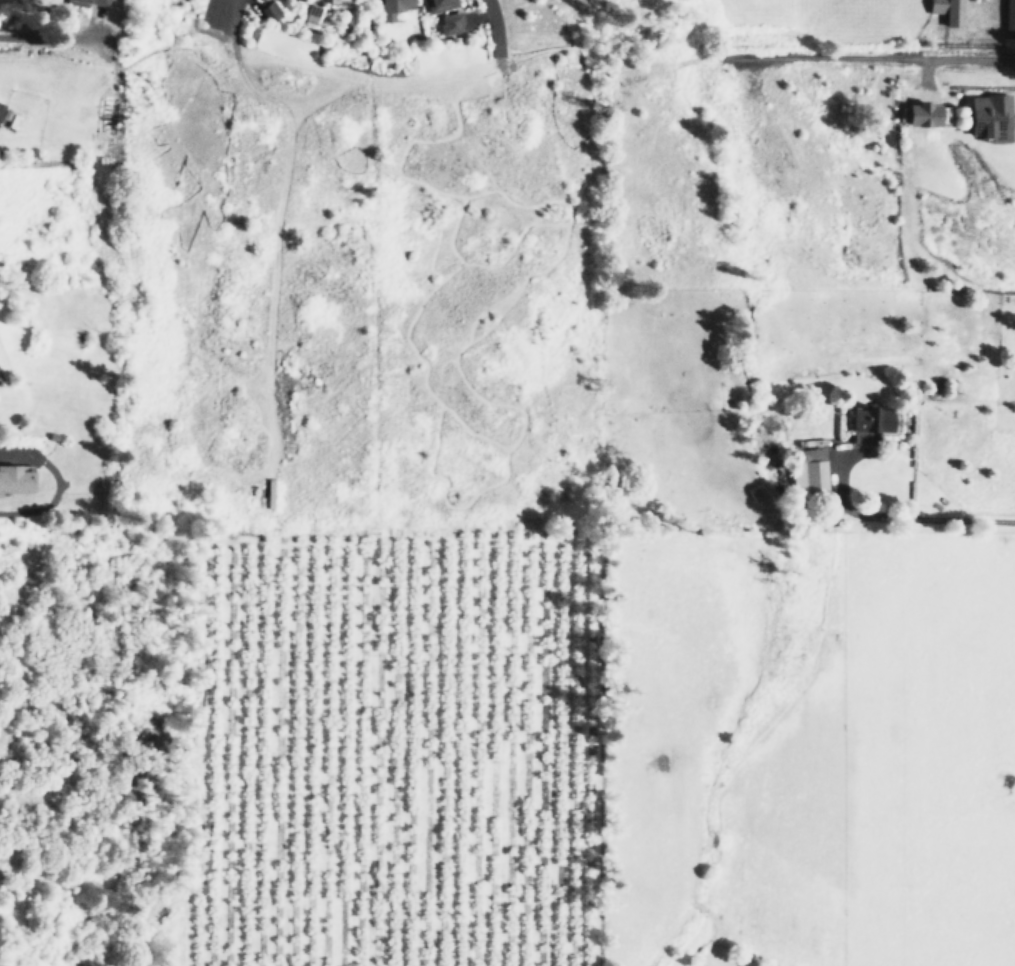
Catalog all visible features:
building: (88, 2)
building: (442, 5)
building: (397, 7)
building: (945, 10)
road: (225, 11)
building: (273, 11)
building: (1008, 14)
building: (452, 22)
road: (486, 32)
road: (3, 33)
road: (226, 44)
park: (357, 49)
road: (880, 58)
road: (373, 86)
building: (918, 114)
building: (6, 115)
building: (987, 116)
road: (593, 139)
road: (476, 163)
road: (520, 209)
road: (432, 255)
road: (273, 268)
road: (483, 316)
building: (865, 423)
road: (463, 433)
building: (806, 471)
building: (16, 477)
building: (266, 497)
road: (441, 502)

